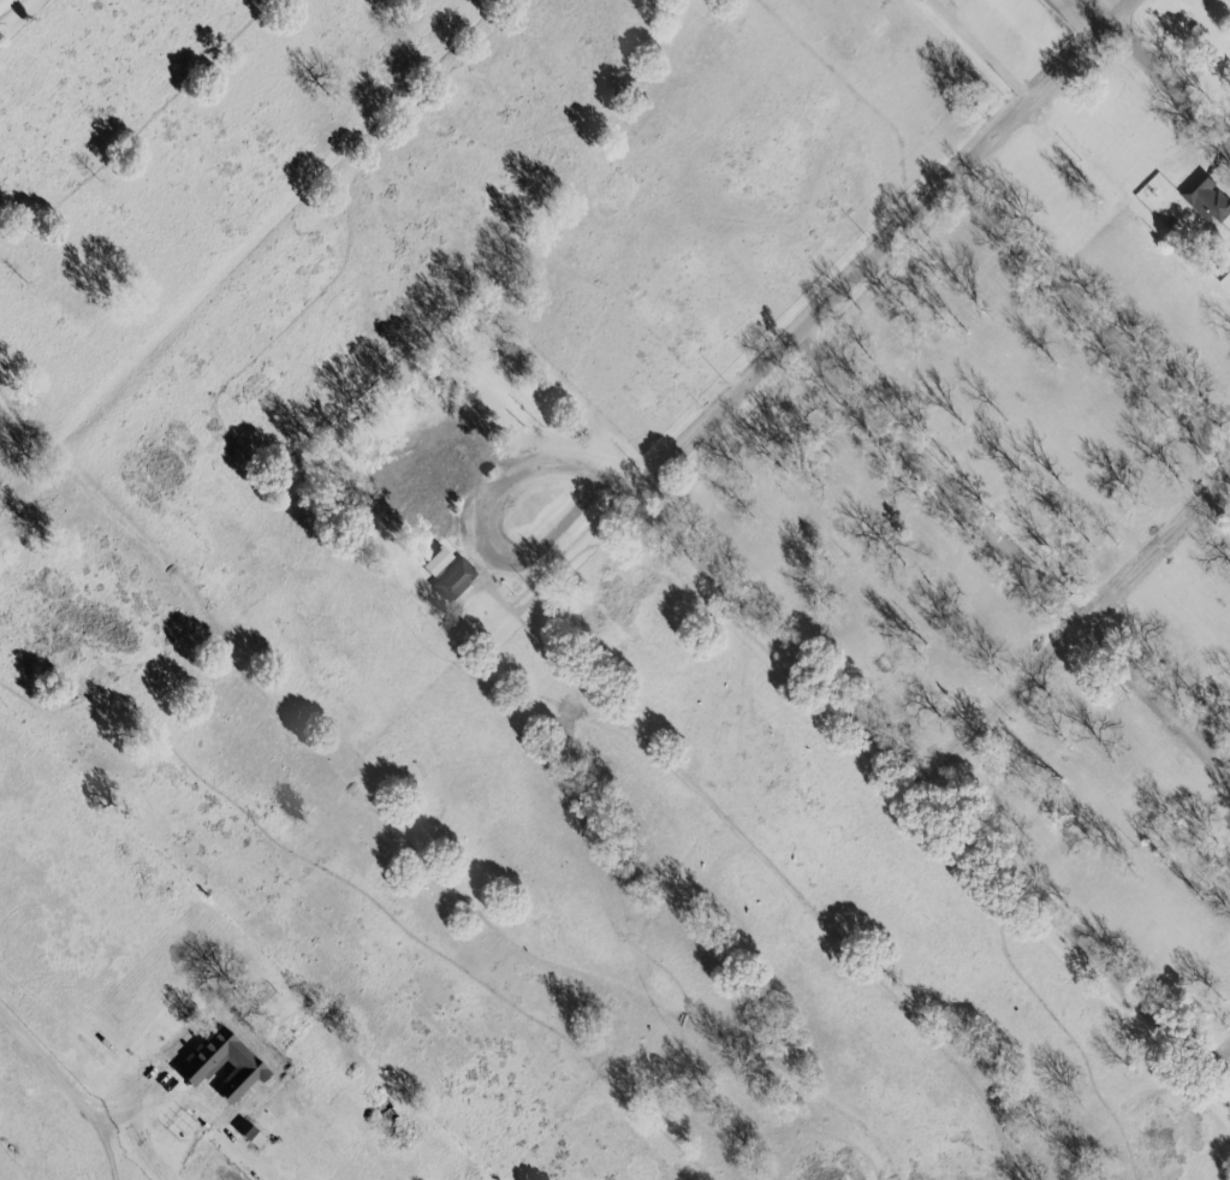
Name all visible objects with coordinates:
road: (1105, 10)
road: (1086, 11)
road: (976, 51)
road: (1170, 78)
building: (1205, 198)
road: (884, 248)
road: (1092, 318)
building: (421, 473)
road: (486, 516)
road: (1014, 555)
building: (434, 561)
park: (493, 570)
building: (451, 579)
road: (1077, 625)
road: (935, 789)
road: (1218, 1054)
road: (67, 1091)
building: (246, 1133)

